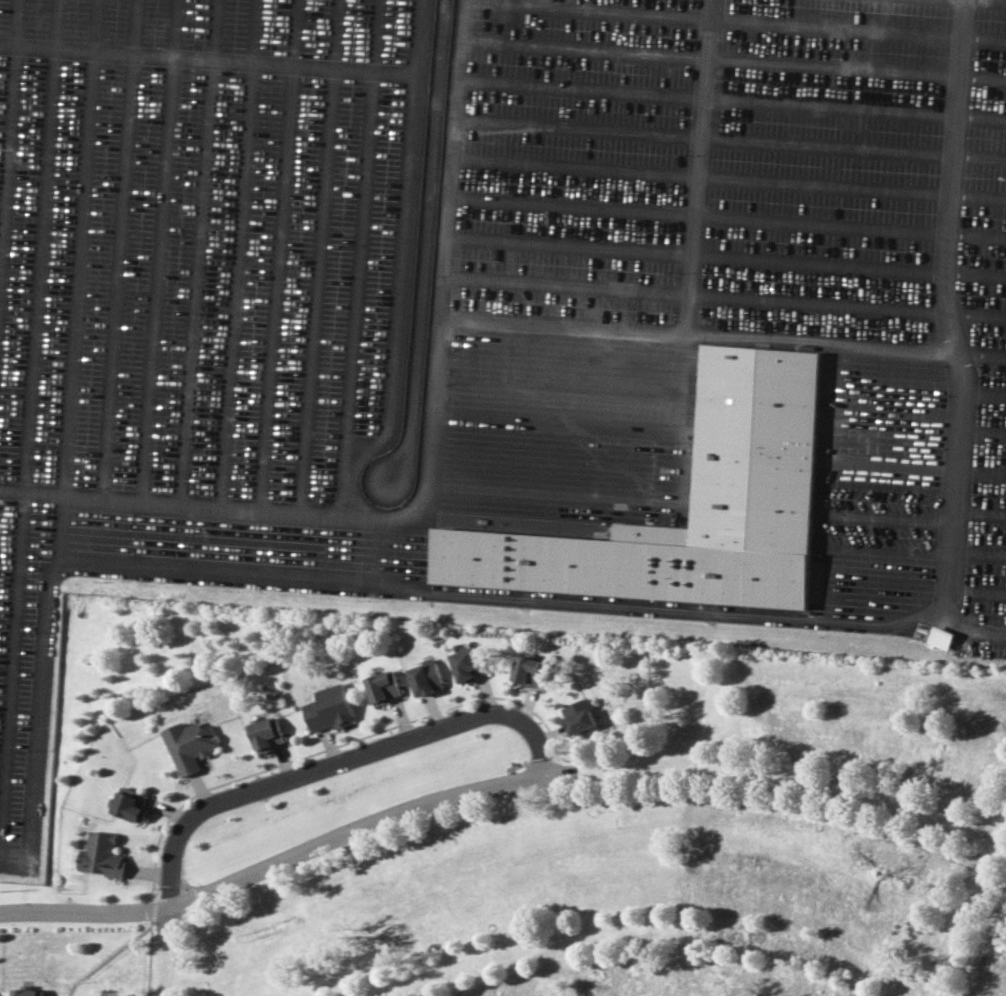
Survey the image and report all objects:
road: (208, 60)
road: (702, 99)
road: (445, 156)
road: (401, 268)
road: (688, 274)
parking lot: (500, 320)
road: (951, 339)
road: (817, 340)
building: (754, 432)
road: (282, 511)
building: (939, 637)
building: (468, 660)
building: (527, 667)
building: (423, 673)
building: (381, 681)
building: (327, 707)
building: (579, 713)
building: (264, 731)
building: (187, 738)
road: (393, 742)
road: (491, 786)
building: (128, 798)
road: (172, 850)
building: (100, 851)
road: (970, 902)
road: (652, 931)
road: (169, 952)
building: (27, 991)

